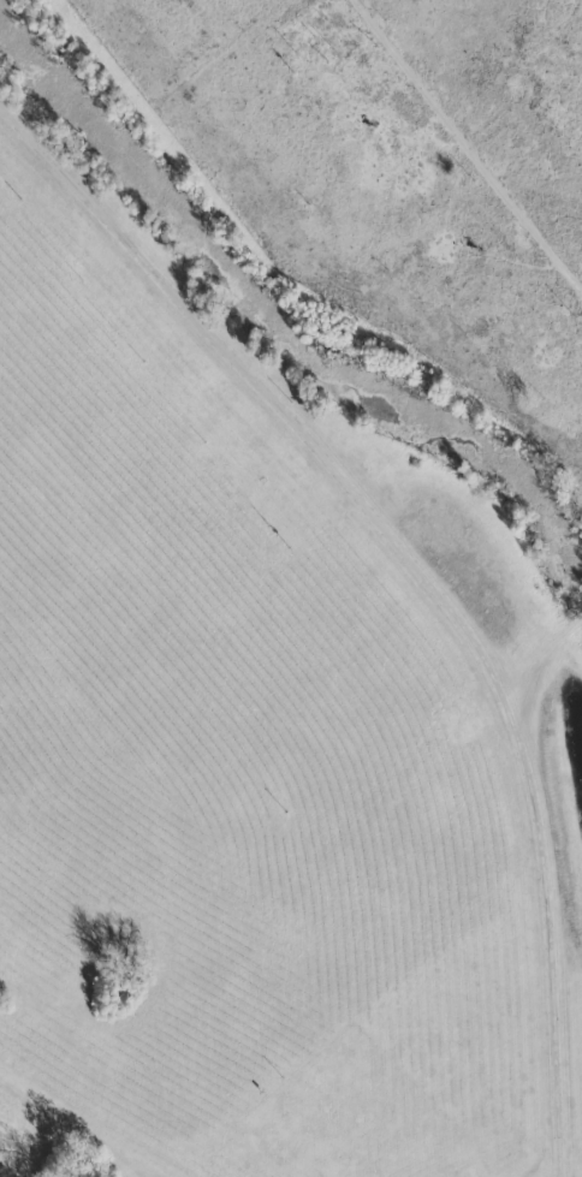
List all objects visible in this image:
road: (468, 132)
road: (418, 579)

